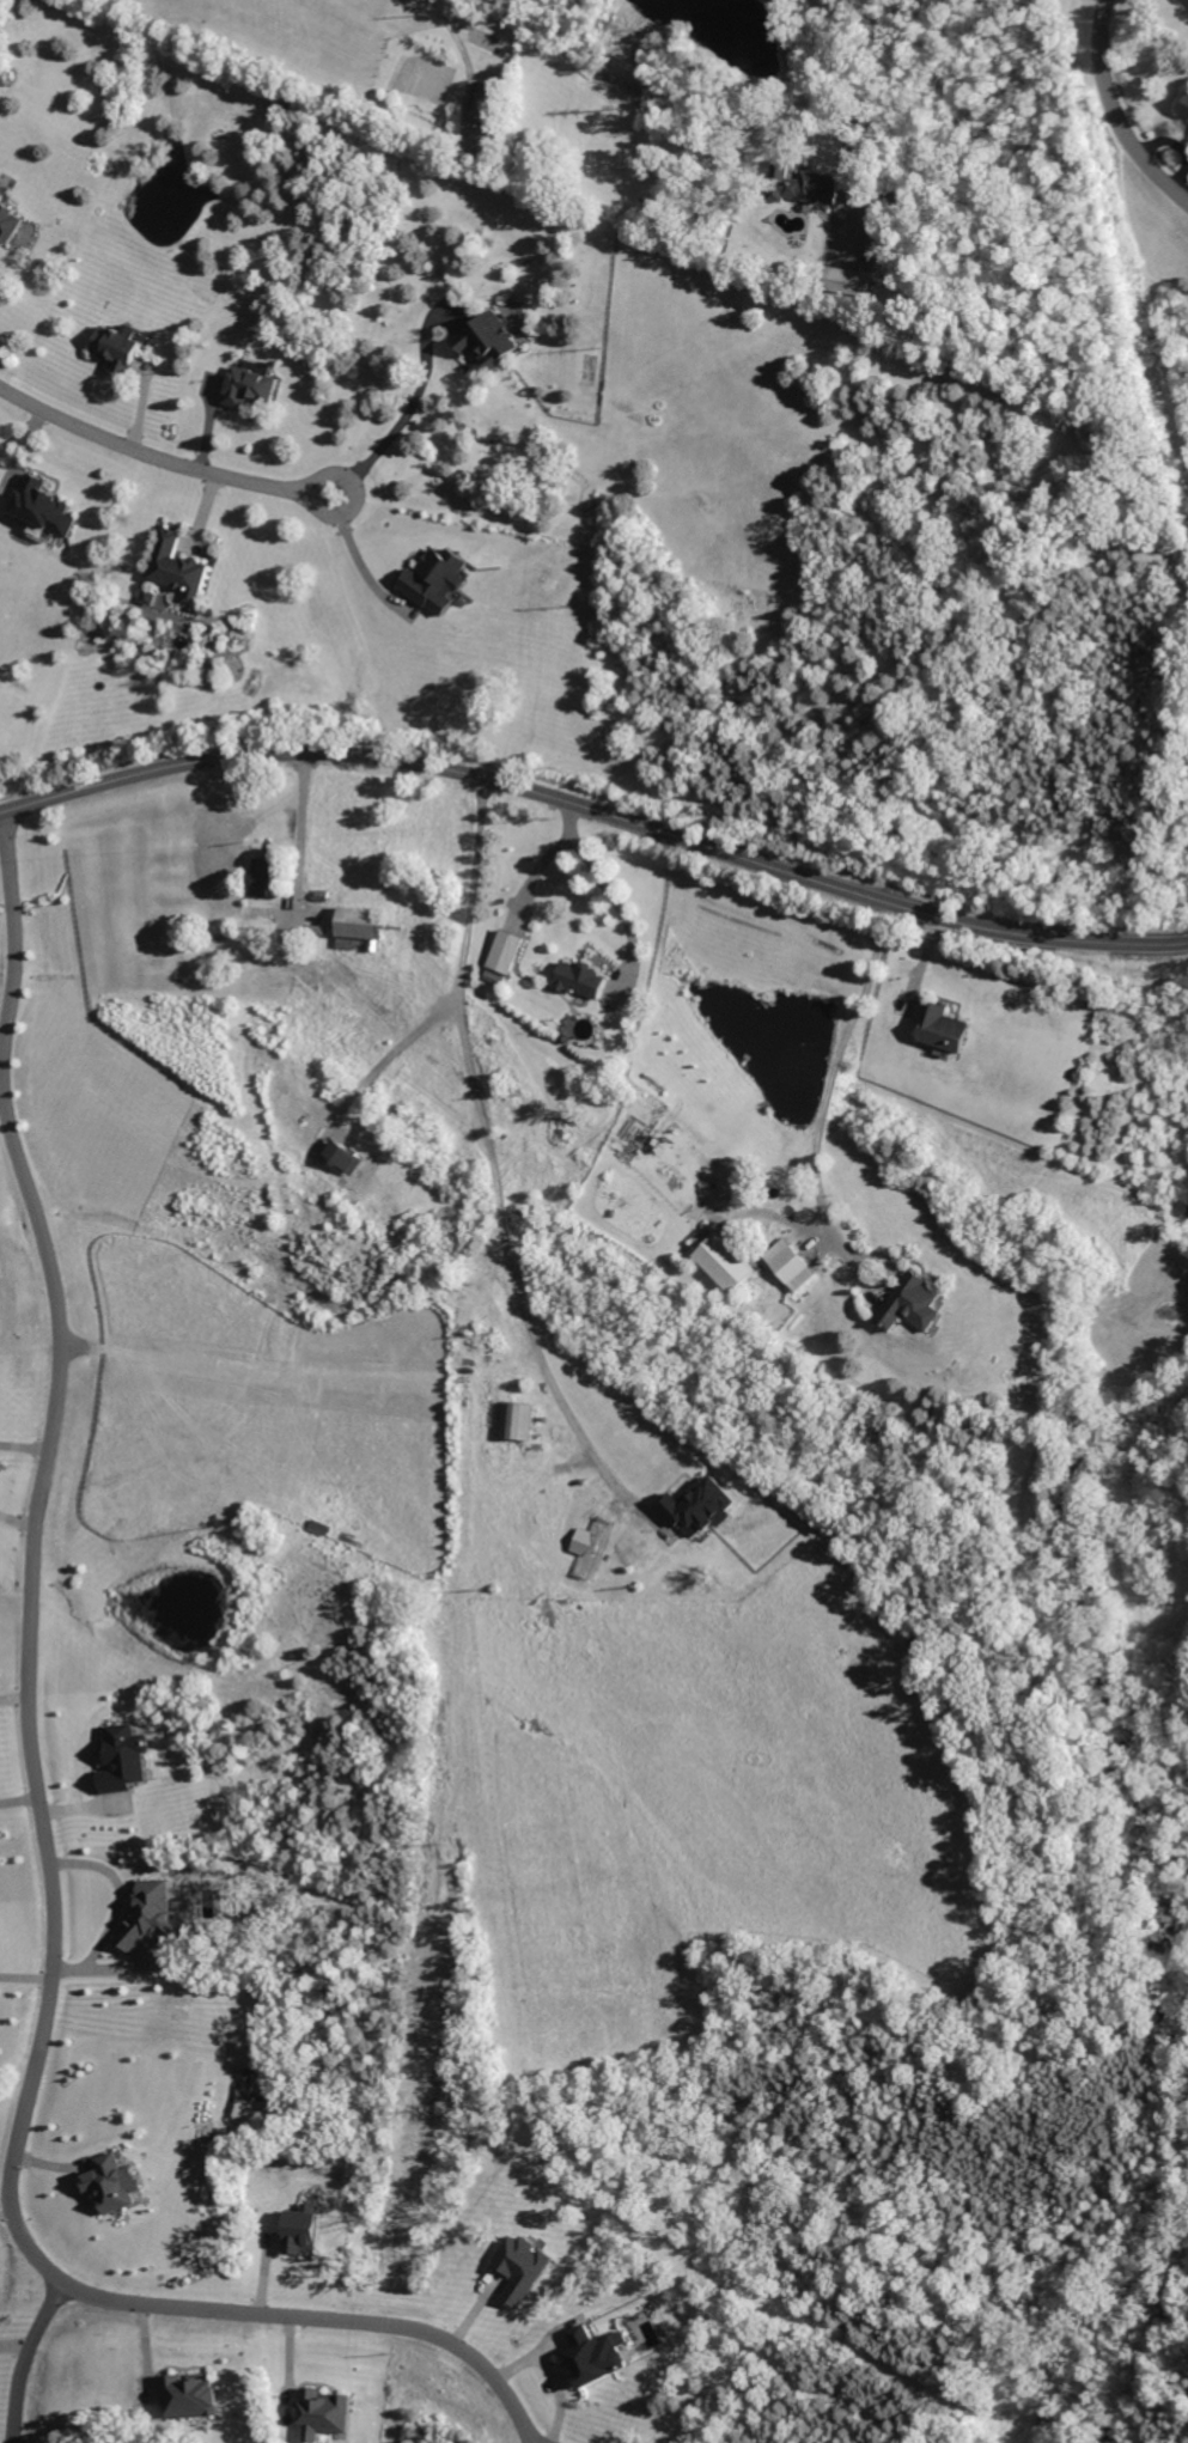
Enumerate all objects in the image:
road: (457, 42)
road: (815, 87)
building: (487, 103)
building: (1184, 109)
road: (1116, 111)
building: (804, 184)
building: (0, 190)
building: (10, 220)
building: (851, 281)
building: (492, 341)
building: (121, 346)
building: (251, 386)
road: (404, 409)
road: (159, 456)
building: (43, 506)
road: (355, 556)
building: (178, 567)
building: (437, 579)
road: (596, 810)
road: (300, 833)
road: (532, 866)
building: (264, 881)
road: (605, 888)
building: (364, 924)
road: (16, 926)
building: (293, 939)
building: (506, 951)
building: (494, 977)
building: (583, 980)
building: (944, 1026)
road: (390, 1052)
road: (827, 1092)
road: (487, 1150)
building: (723, 1263)
building: (790, 1265)
building: (910, 1304)
building: (517, 1421)
road: (24, 1444)
building: (702, 1506)
road: (26, 1692)
building: (126, 1757)
building: (154, 1915)
building: (112, 2182)
building: (305, 2229)
building: (523, 2267)
road: (313, 2315)
road: (18, 2356)
building: (597, 2356)
building: (191, 2395)
building: (328, 2413)

